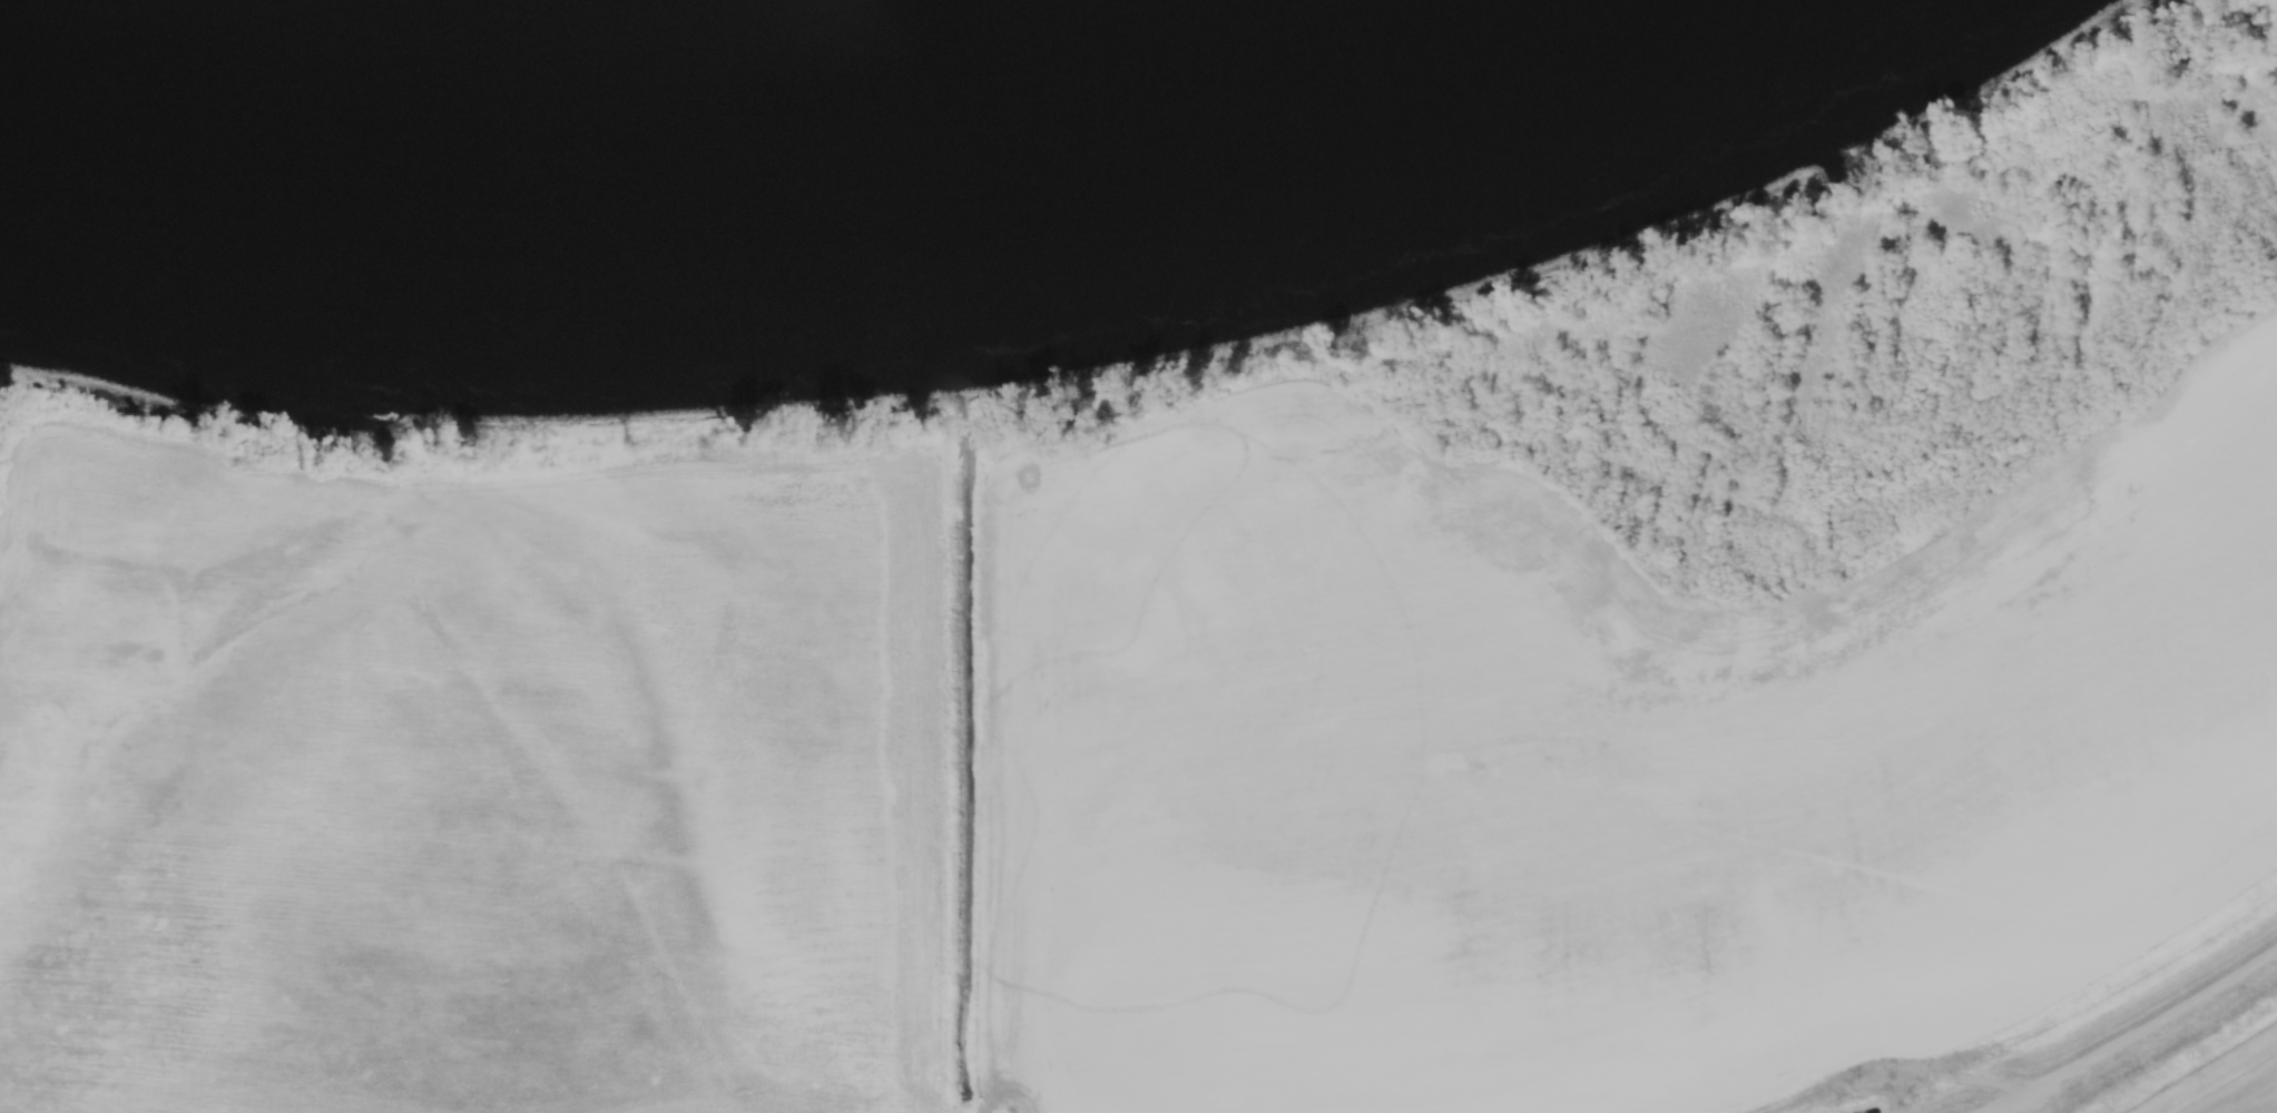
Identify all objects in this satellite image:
river: (856, 164)
road: (2108, 1024)

